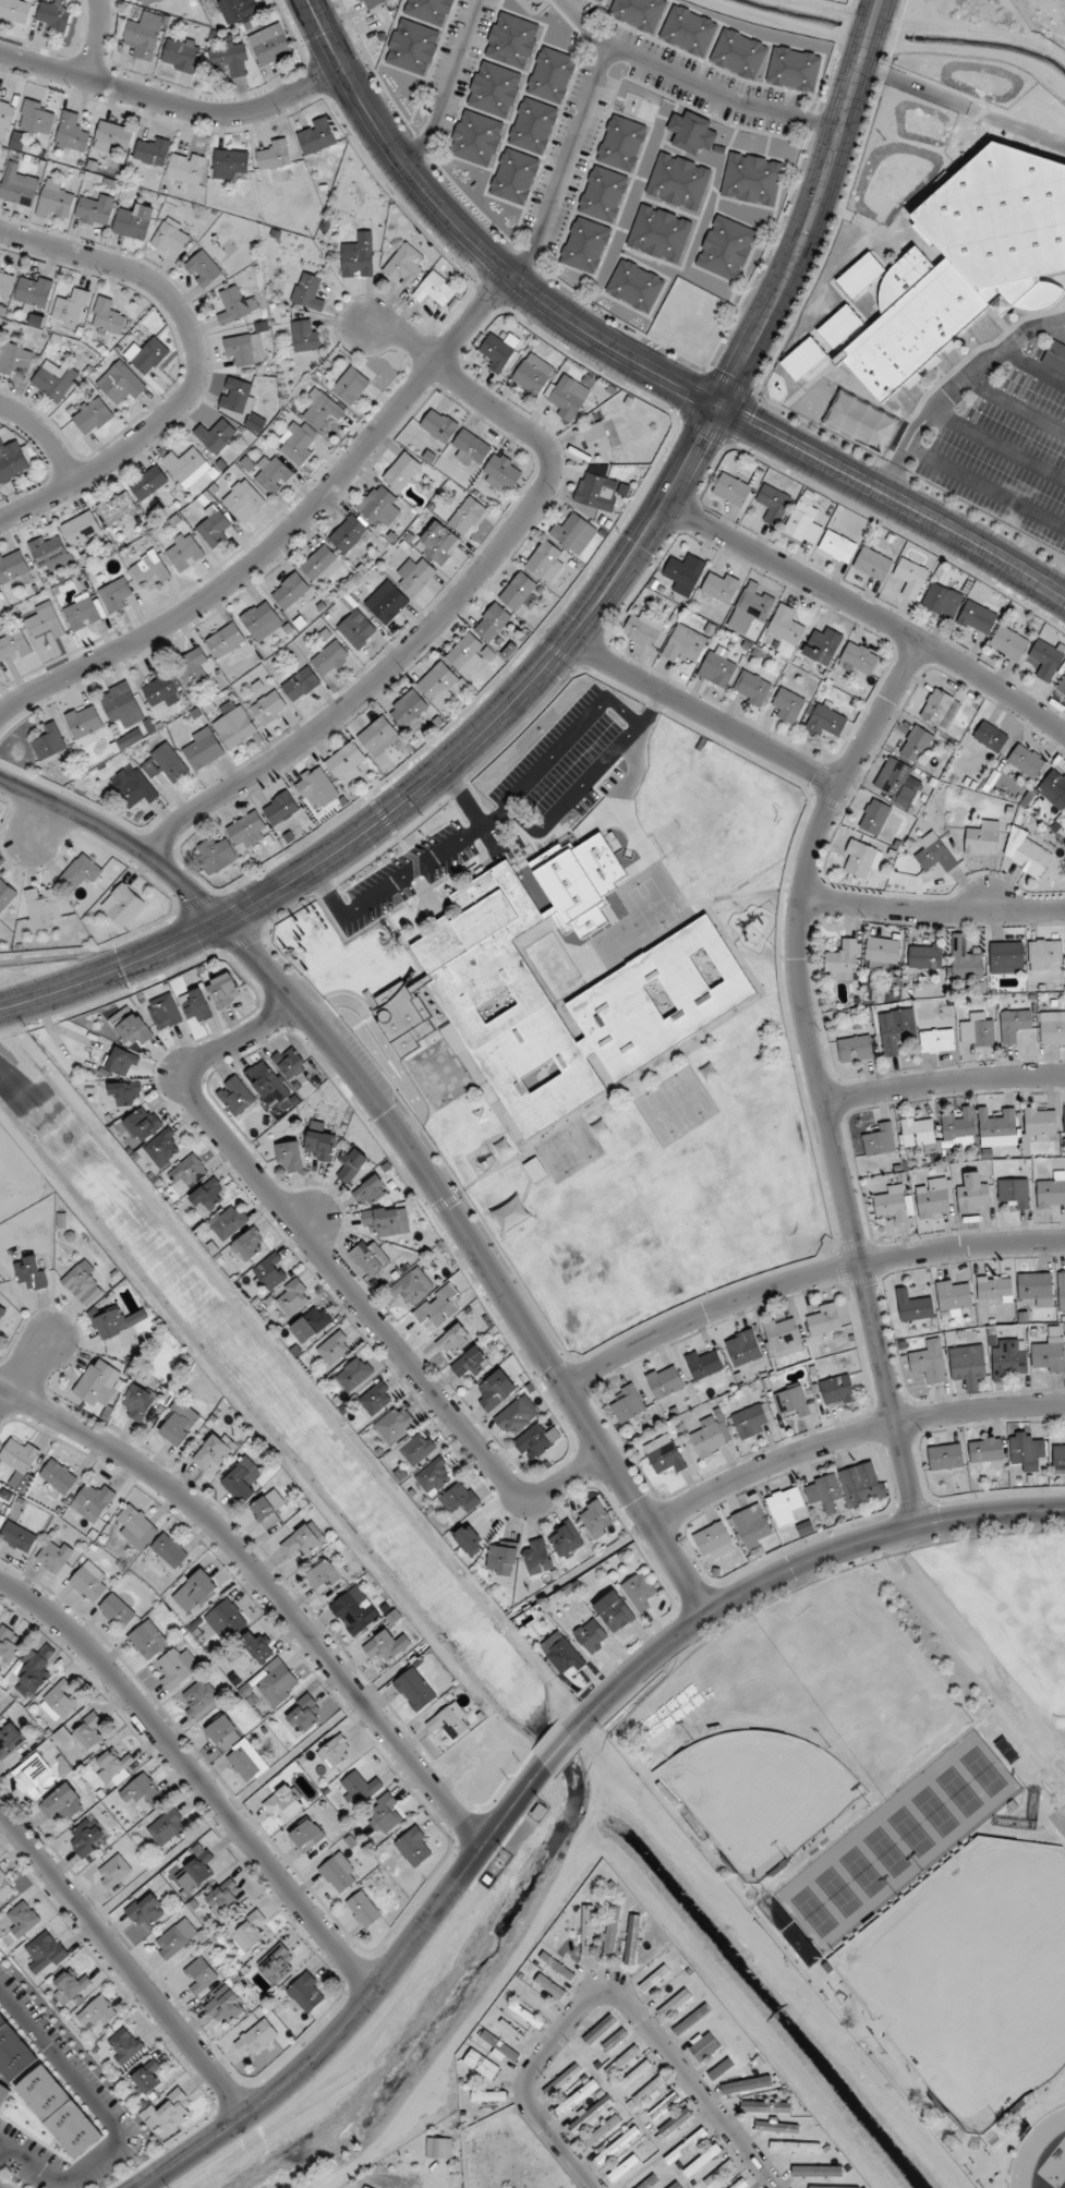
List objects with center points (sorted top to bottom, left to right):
building: (593, 0)
building: (147, 2)
building: (372, 3)
building: (14, 10)
building: (237, 10)
building: (427, 11)
building: (636, 13)
building: (52, 16)
building: (687, 29)
building: (143, 36)
road: (97, 39)
building: (511, 40)
building: (269, 45)
building: (411, 46)
building: (737, 53)
building: (180, 55)
building: (230, 60)
building: (792, 69)
building: (549, 74)
road: (690, 83)
road: (449, 85)
building: (493, 89)
road: (172, 104)
road: (963, 107)
building: (5, 111)
building: (36, 119)
building: (531, 125)
building: (71, 132)
building: (690, 132)
building: (111, 137)
building: (315, 137)
building: (475, 138)
building: (620, 143)
building: (152, 152)
building: (274, 156)
building: (229, 164)
road: (565, 165)
building: (185, 168)
building: (513, 176)
building: (750, 178)
building: (677, 182)
building: (19, 188)
building: (602, 194)
building: (55, 201)
road: (812, 208)
building: (95, 210)
building: (133, 221)
building: (658, 233)
building: (169, 239)
building: (583, 245)
building: (726, 247)
building: (358, 256)
building: (404, 265)
building: (966, 266)
building: (201, 268)
building: (4, 283)
building: (633, 286)
building: (435, 289)
building: (307, 292)
building: (34, 293)
building: (237, 305)
building: (71, 306)
building: (107, 318)
building: (305, 336)
building: (243, 350)
building: (498, 351)
building: (147, 355)
building: (1055, 358)
building: (14, 359)
road: (632, 360)
road: (197, 365)
building: (533, 375)
building: (53, 380)
building: (122, 385)
road: (954, 385)
building: (350, 386)
building: (567, 398)
building: (240, 401)
building: (320, 410)
building: (93, 416)
building: (860, 423)
building: (438, 426)
road: (45, 436)
building: (216, 437)
building: (594, 439)
building: (296, 442)
building: (470, 449)
road: (692, 454)
building: (12, 461)
building: (185, 467)
building: (401, 472)
building: (501, 473)
building: (271, 474)
building: (147, 482)
building: (730, 489)
building: (595, 492)
building: (243, 500)
building: (375, 504)
building: (772, 505)
building: (116, 508)
building: (467, 516)
building: (803, 524)
building: (215, 525)
building: (82, 530)
road: (286, 533)
building: (573, 534)
building: (350, 535)
building: (438, 543)
building: (837, 546)
building: (183, 552)
building: (49, 553)
building: (543, 559)
building: (872, 564)
building: (320, 565)
building: (149, 568)
building: (13, 571)
building: (683, 575)
building: (414, 577)
building: (910, 578)
building: (721, 587)
building: (289, 592)
building: (519, 593)
building: (114, 595)
road: (460, 596)
building: (941, 601)
building: (386, 603)
building: (750, 609)
building: (81, 612)
road: (868, 612)
building: (258, 617)
building: (977, 618)
building: (44, 621)
building: (492, 622)
building: (786, 626)
building: (355, 629)
building: (642, 629)
building: (225, 641)
building: (1008, 643)
building: (822, 645)
building: (13, 646)
building: (681, 648)
building: (467, 653)
building: (329, 658)
building: (1043, 661)
building: (857, 662)
building: (193, 667)
building: (716, 669)
building: (301, 685)
building: (438, 685)
building: (1061, 687)
building: (751, 688)
building: (161, 690)
building: (119, 703)
building: (788, 705)
building: (268, 708)
building: (936, 708)
building: (409, 711)
road: (702, 713)
building: (84, 721)
building: (826, 722)
building: (234, 725)
road: (571, 733)
building: (380, 737)
building: (990, 737)
building: (131, 738)
building: (49, 741)
building: (916, 745)
building: (202, 749)
building: (1026, 761)
building: (346, 763)
building: (167, 764)
building: (898, 785)
building: (316, 786)
building: (132, 789)
building: (1053, 789)
building: (643, 803)
building: (279, 808)
building: (1064, 814)
building: (874, 818)
road: (382, 819)
building: (618, 819)
building: (657, 826)
building: (246, 831)
building: (595, 834)
road: (119, 837)
building: (982, 839)
building: (633, 841)
building: (670, 847)
building: (934, 854)
building: (1027, 855)
building: (215, 856)
building: (609, 857)
building: (861, 860)
building: (646, 863)
road: (416, 868)
building: (685, 869)
building: (84, 874)
building: (624, 878)
building: (661, 884)
building: (5, 895)
building: (638, 899)
building: (122, 905)
building: (41, 907)
road: (932, 910)
building: (666, 922)
building: (567, 938)
building: (547, 953)
building: (881, 954)
building: (1043, 954)
building: (924, 956)
building: (579, 957)
building: (842, 957)
building: (1006, 958)
building: (966, 963)
building: (559, 970)
building: (223, 991)
building: (657, 1004)
building: (195, 1006)
building: (164, 1012)
building: (1014, 1026)
building: (1052, 1027)
building: (896, 1029)
building: (132, 1030)
building: (978, 1031)
building: (937, 1041)
building: (855, 1049)
road: (382, 1060)
building: (122, 1062)
building: (290, 1064)
road: (819, 1073)
road: (944, 1080)
building: (266, 1081)
building: (125, 1092)
building: (235, 1097)
building: (1064, 1120)
building: (1040, 1121)
building: (143, 1124)
building: (997, 1128)
building: (958, 1129)
building: (919, 1133)
building: (880, 1141)
building: (319, 1143)
building: (162, 1148)
building: (289, 1158)
building: (351, 1165)
building: (535, 1170)
building: (189, 1171)
building: (371, 1190)
building: (1052, 1192)
building: (1014, 1193)
building: (972, 1195)
building: (208, 1196)
building: (933, 1198)
building: (892, 1204)
building: (228, 1221)
building: (387, 1221)
building: (249, 1244)
road: (482, 1256)
building: (370, 1259)
building: (271, 1271)
building: (31, 1272)
road: (337, 1274)
road: (803, 1278)
building: (83, 1283)
building: (994, 1289)
building: (1036, 1289)
building: (1062, 1293)
building: (292, 1297)
building: (954, 1297)
building: (913, 1306)
building: (2, 1315)
building: (823, 1320)
building: (118, 1322)
building: (311, 1325)
building: (783, 1337)
building: (453, 1340)
building: (743, 1347)
building: (335, 1349)
building: (1048, 1355)
building: (1007, 1358)
building: (471, 1362)
building: (704, 1364)
building: (930, 1364)
building: (968, 1365)
road: (24, 1366)
building: (353, 1375)
building: (665, 1381)
building: (98, 1383)
building: (495, 1390)
building: (837, 1391)
building: (375, 1400)
building: (794, 1402)
building: (137, 1403)
building: (627, 1405)
building: (517, 1416)
building: (750, 1422)
building: (178, 1424)
building: (395, 1426)
road: (851, 1435)
building: (711, 1438)
building: (533, 1443)
building: (415, 1450)
building: (985, 1450)
building: (213, 1451)
building: (1027, 1453)
building: (20, 1454)
building: (666, 1459)
building: (945, 1460)
building: (1058, 1460)
building: (59, 1476)
building: (436, 1476)
building: (246, 1480)
building: (862, 1484)
building: (17, 1485)
building: (823, 1492)
building: (460, 1498)
building: (93, 1502)
building: (785, 1506)
building: (269, 1509)
building: (596, 1520)
building: (136, 1527)
building: (752, 1527)
building: (17, 1537)
building: (303, 1540)
building: (565, 1540)
building: (714, 1542)
building: (169, 1550)
building: (501, 1555)
building: (53, 1556)
road: (794, 1568)
building: (325, 1574)
building: (89, 1582)
road: (268, 1584)
building: (195, 1592)
building: (639, 1592)
building: (354, 1610)
building: (117, 1611)
building: (614, 1611)
building: (226, 1620)
building: (591, 1635)
building: (147, 1641)
building: (7, 1644)
road: (975, 1645)
building: (386, 1646)
building: (256, 1647)
building: (564, 1657)
building: (177, 1668)
building: (33, 1671)
building: (277, 1684)
building: (414, 1690)
building: (199, 1699)
building: (59, 1702)
building: (303, 1715)
building: (451, 1721)
building: (220, 1729)
building: (82, 1733)
building: (10, 1740)
building: (336, 1752)
road: (552, 1758)
building: (246, 1761)
building: (114, 1768)
park: (981, 1770)
building: (32, 1773)
road: (196, 1776)
building: (360, 1788)
building: (140, 1790)
park: (958, 1791)
park: (757, 1793)
building: (62, 1803)
building: (282, 1805)
park: (933, 1811)
building: (386, 1814)
building: (167, 1827)
park: (909, 1832)
building: (306, 1835)
building: (85, 1838)
building: (414, 1847)
park: (884, 1850)
building: (196, 1870)
park: (860, 1871)
building: (113, 1872)
building: (339, 1873)
building: (5, 1888)
park: (837, 1891)
building: (223, 1897)
building: (146, 1910)
building: (363, 1910)
park: (812, 1911)
building: (23, 1920)
building: (247, 1931)
building: (586, 1931)
building: (610, 1932)
building: (176, 1938)
building: (631, 1941)
building: (45, 1954)
road: (124, 1961)
building: (277, 1965)
building: (557, 1966)
park: (970, 1974)
building: (201, 1975)
building: (657, 1978)
building: (69, 1987)
building: (549, 1987)
road: (607, 1991)
building: (306, 1993)
building: (226, 2007)
road: (359, 2008)
building: (96, 2014)
building: (525, 2015)
building: (690, 2022)
building: (598, 2030)
building: (255, 2039)
building: (124, 2046)
building: (704, 2046)
building: (622, 2063)
building: (481, 2066)
building: (636, 2075)
building: (146, 2077)
building: (561, 2081)
building: (746, 2086)
building: (646, 2094)
building: (488, 2096)
building: (577, 2099)
building: (664, 2106)
building: (765, 2107)
building: (1020, 2107)
building: (171, 2112)
building: (591, 2115)
road: (106, 2116)
building: (673, 2125)
building: (776, 2128)
building: (601, 2131)
building: (691, 2143)
building: (795, 2147)
building: (615, 2148)
track: (1033, 2148)
building: (438, 2149)
stadium: (1040, 2152)
road: (4, 2154)
building: (703, 2161)
building: (630, 2163)
building: (816, 2172)
building: (718, 2176)
building: (654, 2179)
building: (740, 2185)
building: (675, 2186)
building: (365, 2187)
building: (833, 2187)

